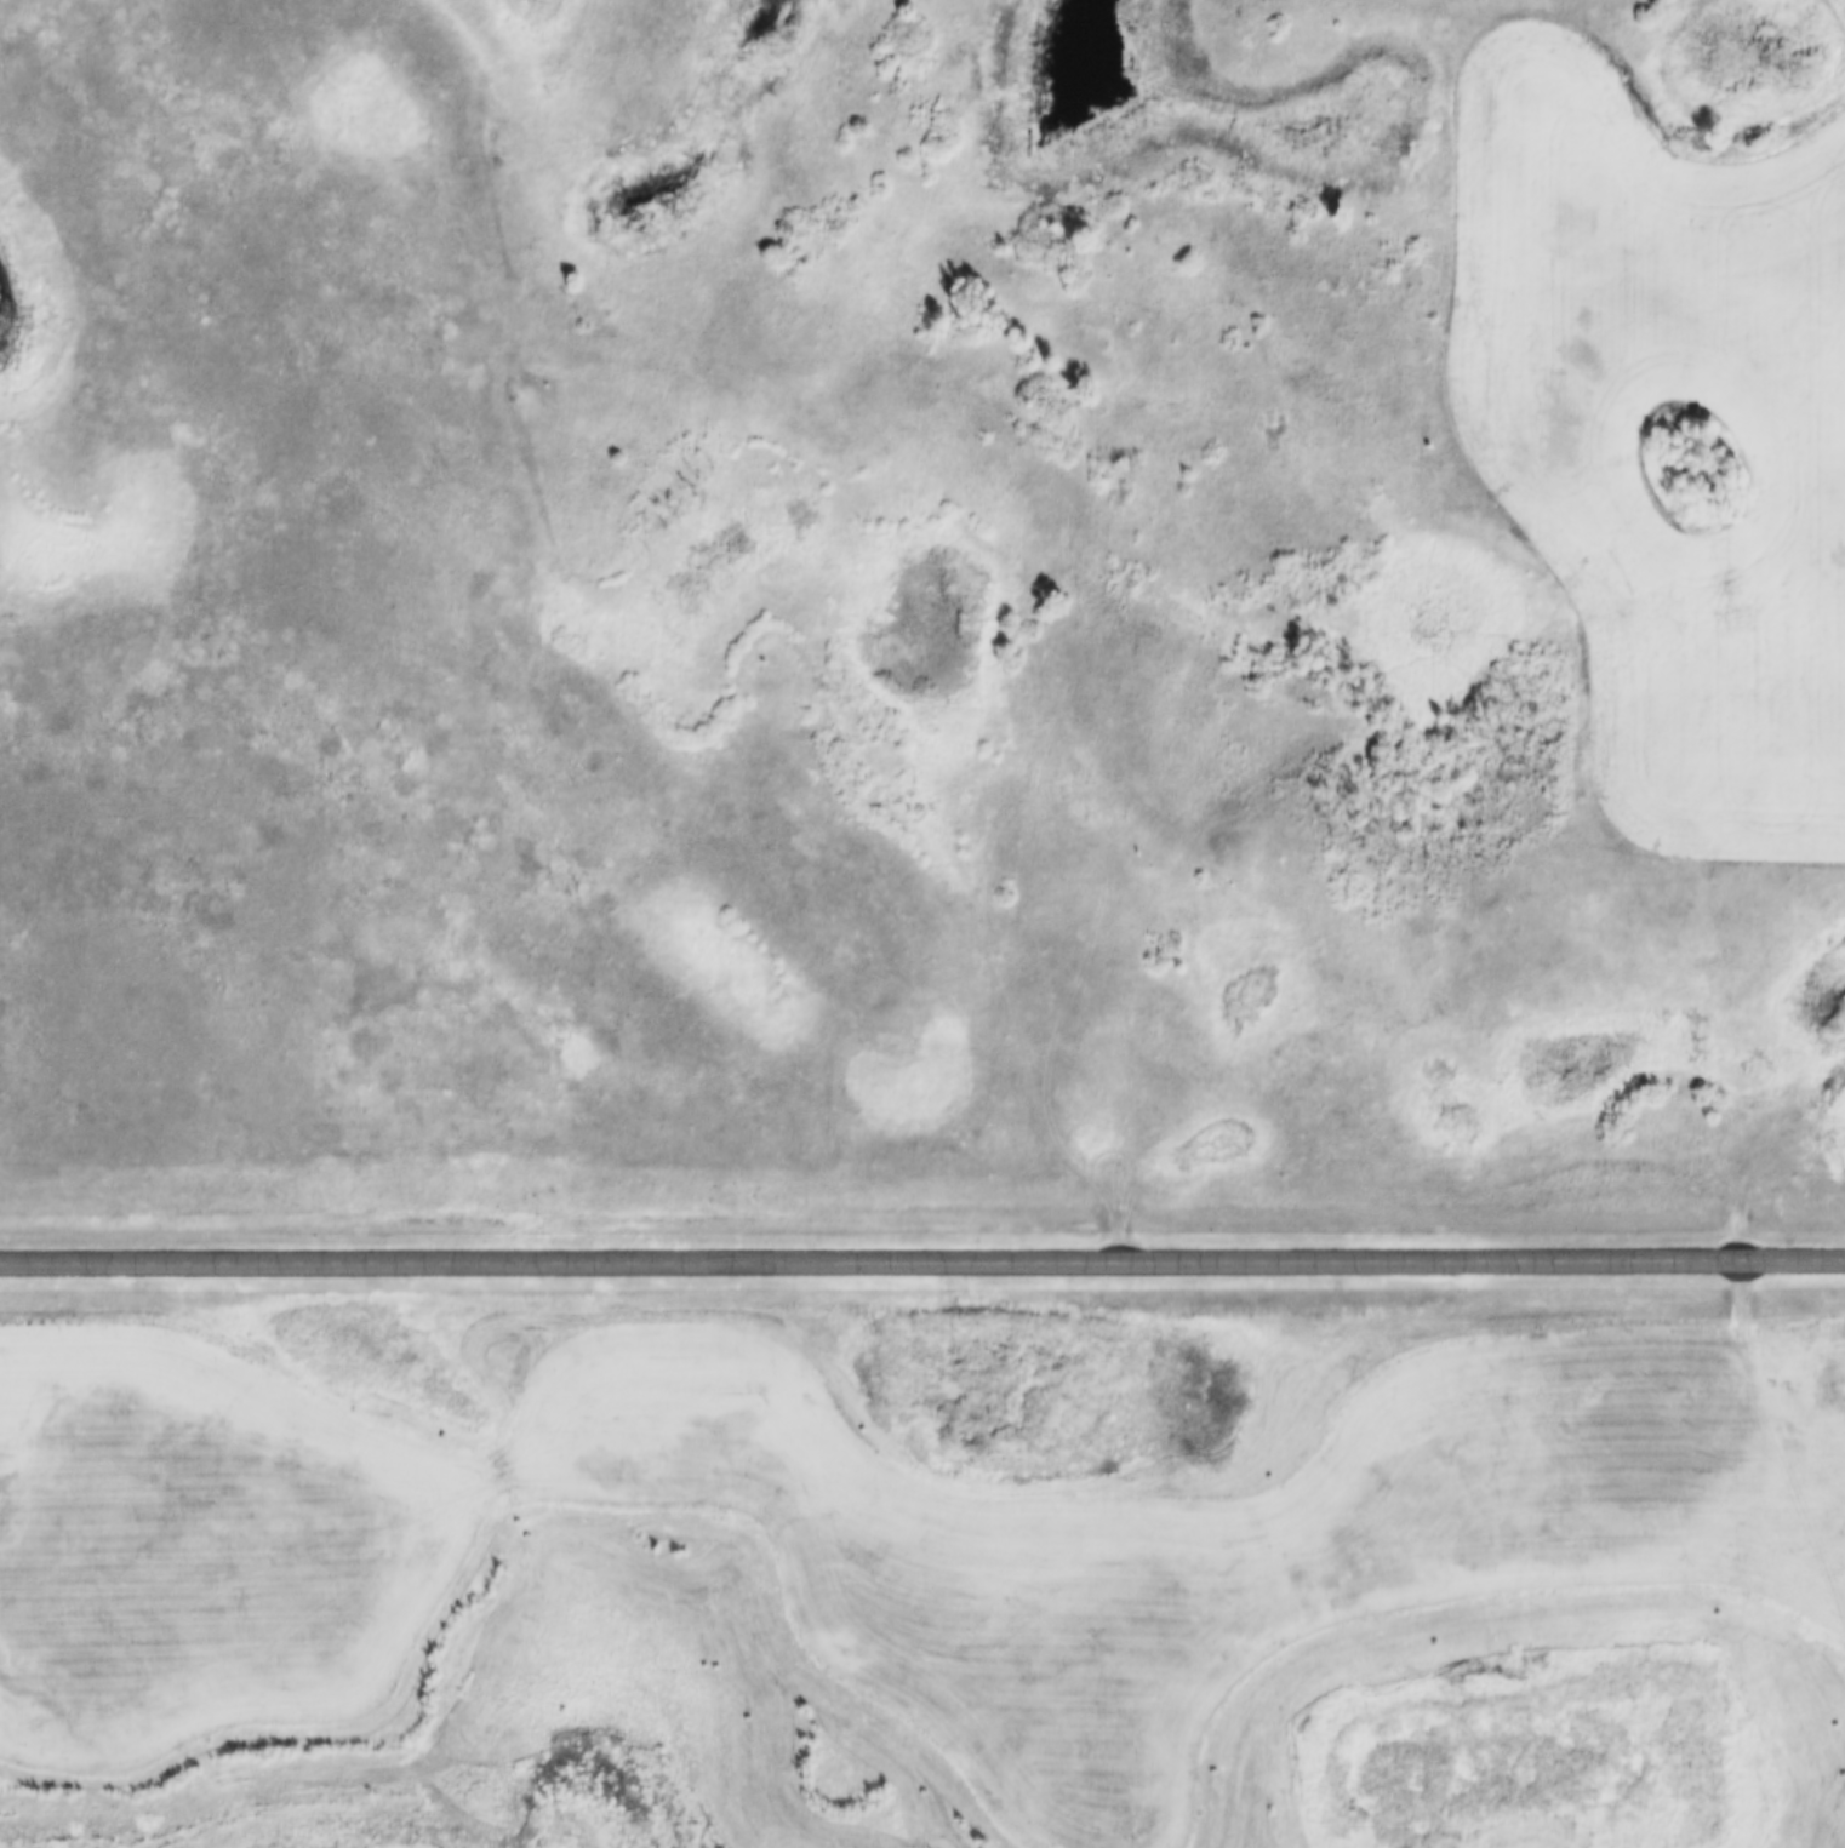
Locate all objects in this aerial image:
road: (922, 1260)

